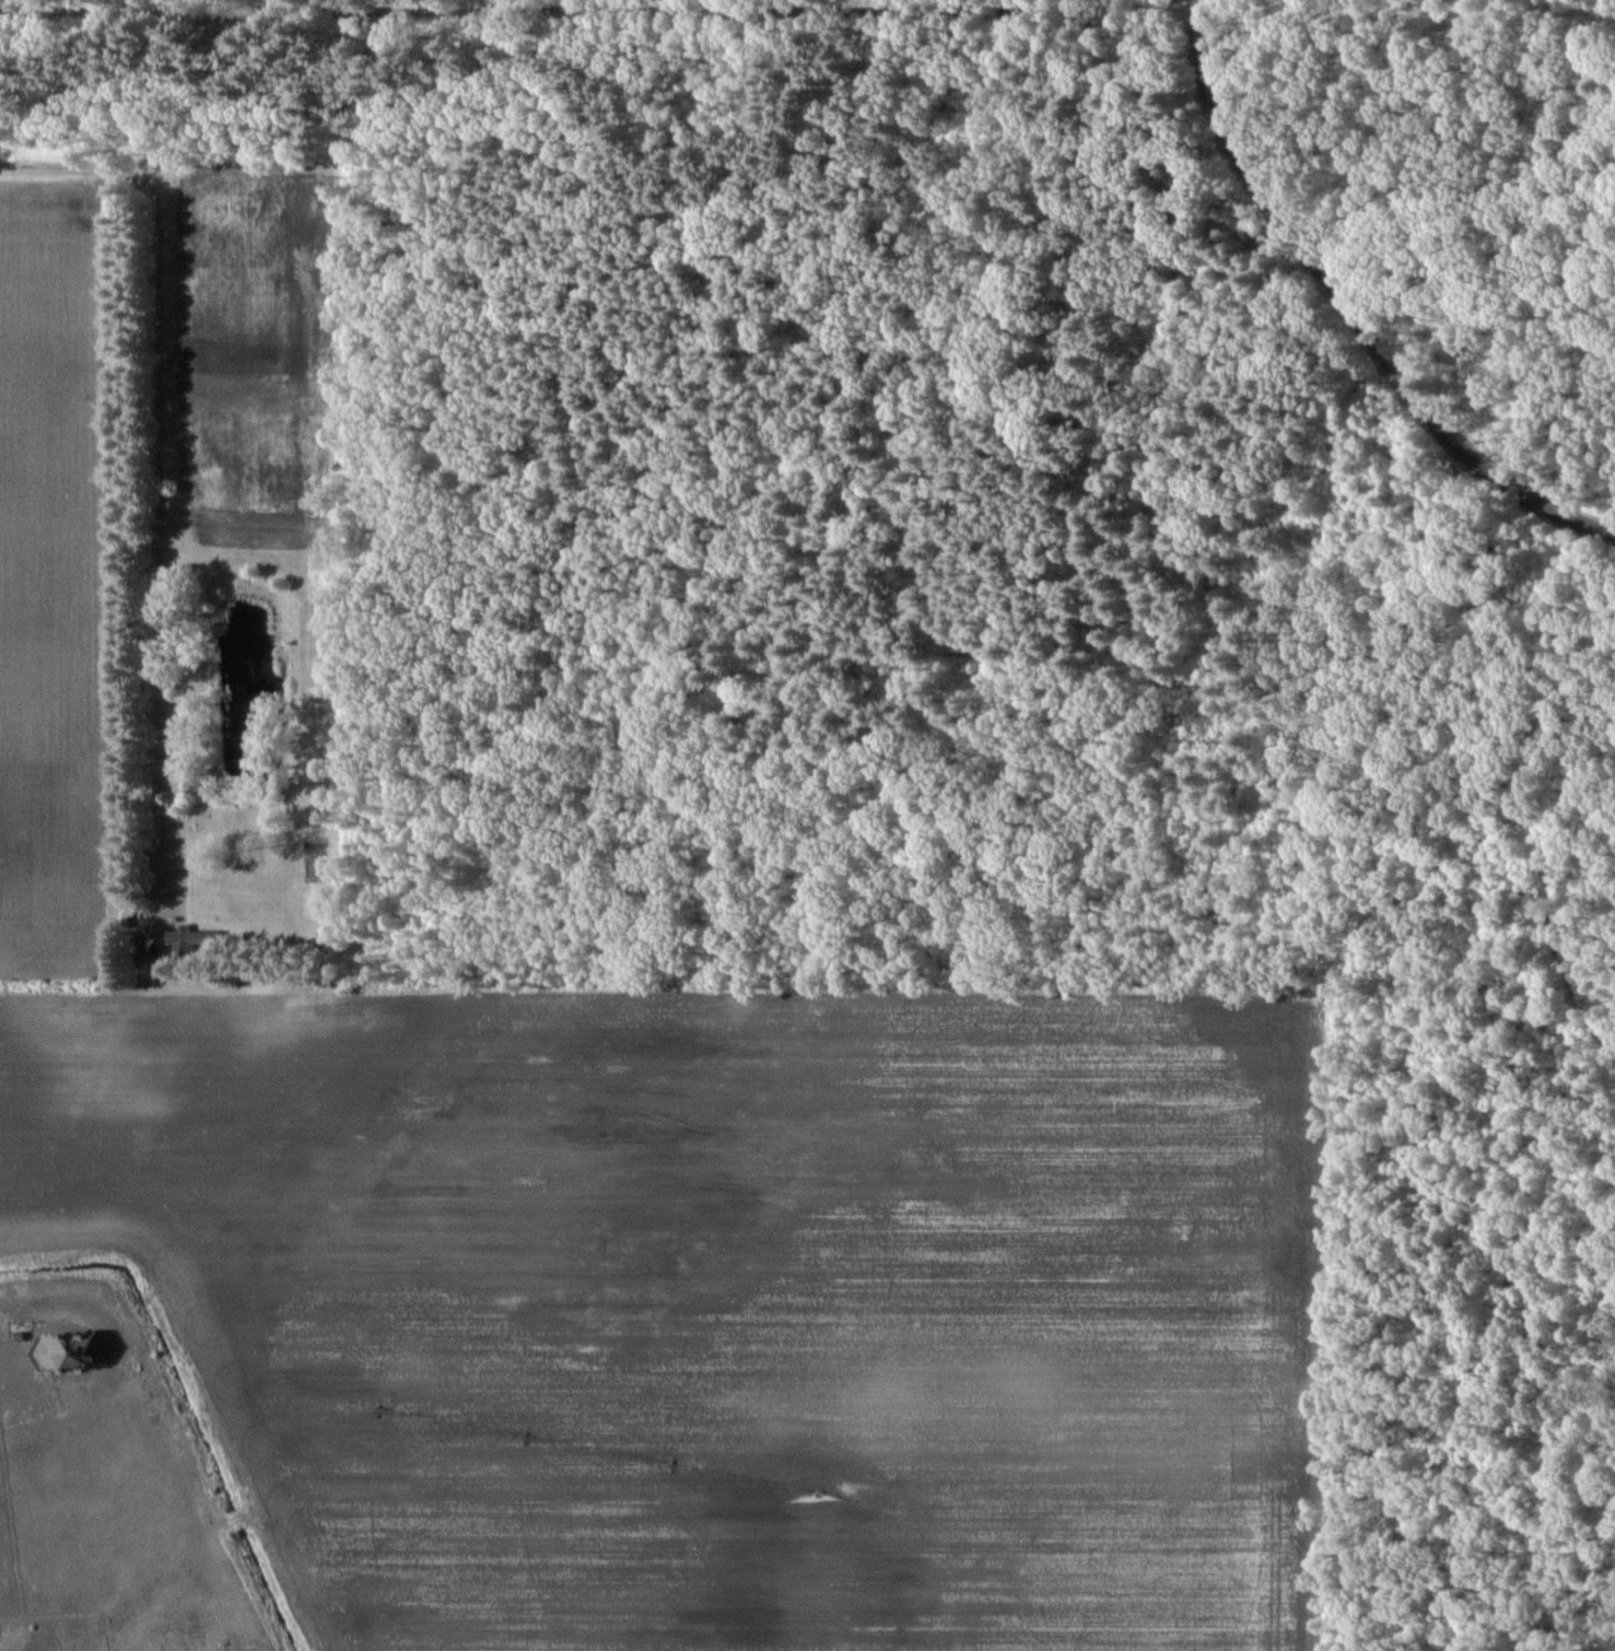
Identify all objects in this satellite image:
road: (1404, 1)
road: (597, 3)
road: (1349, 314)
building: (195, 937)
building: (139, 941)
road: (57, 980)

